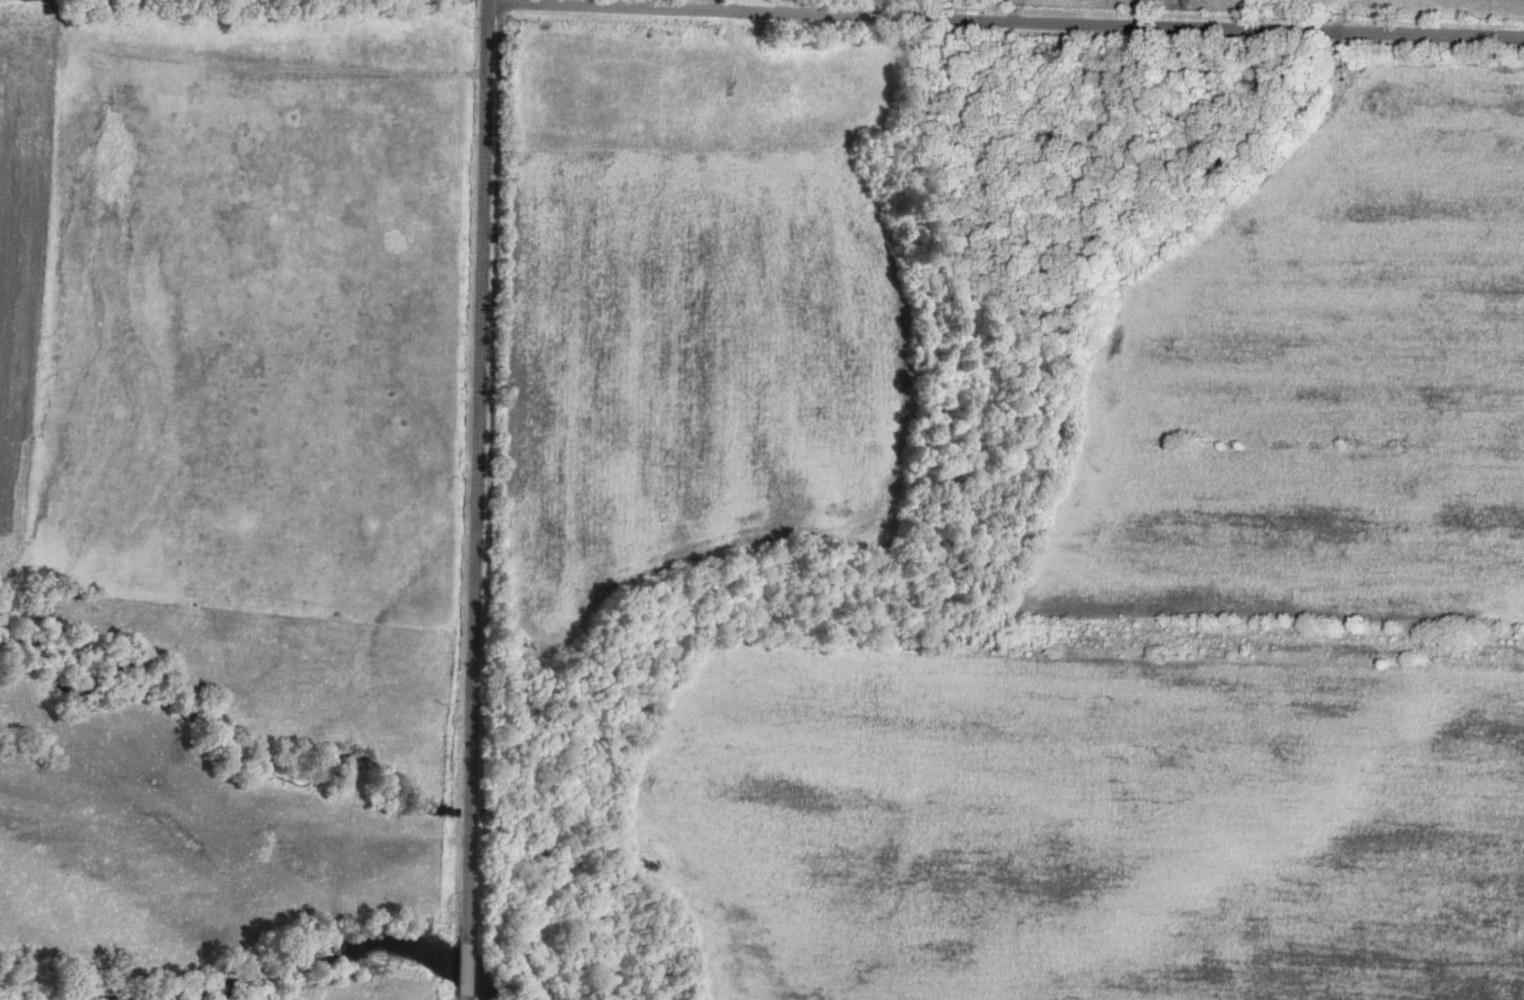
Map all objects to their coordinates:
road: (1067, 18)
road: (856, 394)
road: (473, 500)

